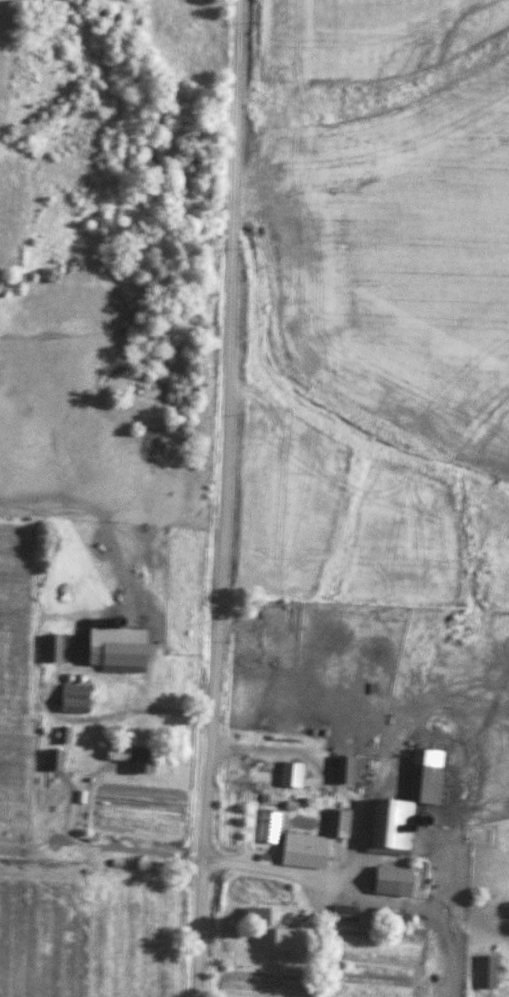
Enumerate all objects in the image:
road: (225, 498)
building: (54, 649)
building: (117, 656)
building: (75, 699)
building: (118, 755)
building: (55, 760)
building: (143, 761)
building: (345, 770)
building: (292, 775)
building: (407, 805)
building: (338, 824)
road: (127, 852)
building: (307, 857)
building: (394, 882)
building: (345, 916)
building: (279, 927)
building: (488, 972)

